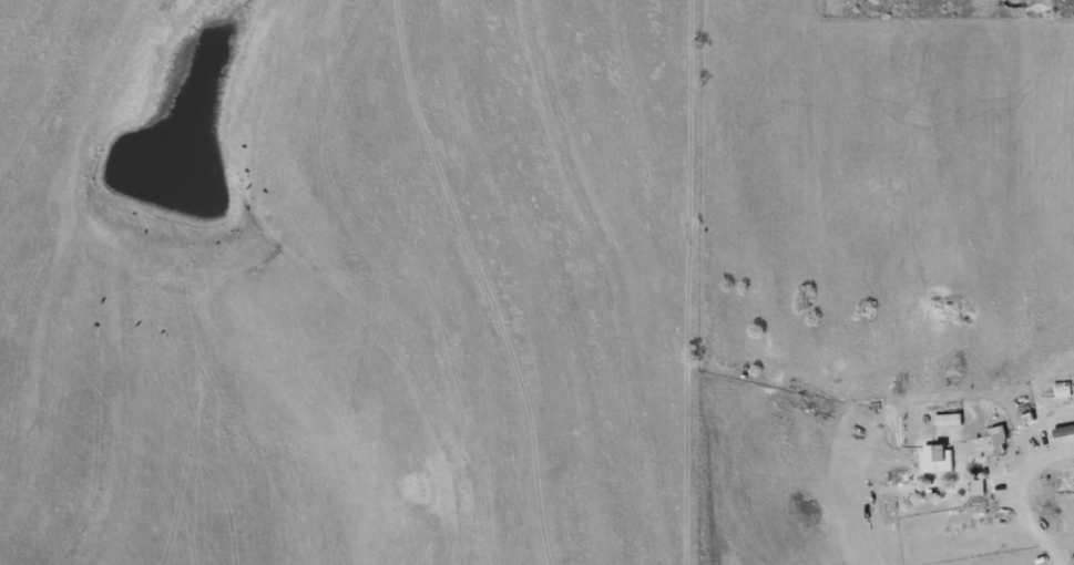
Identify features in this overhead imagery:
road: (860, 268)
building: (930, 453)
building: (973, 487)

